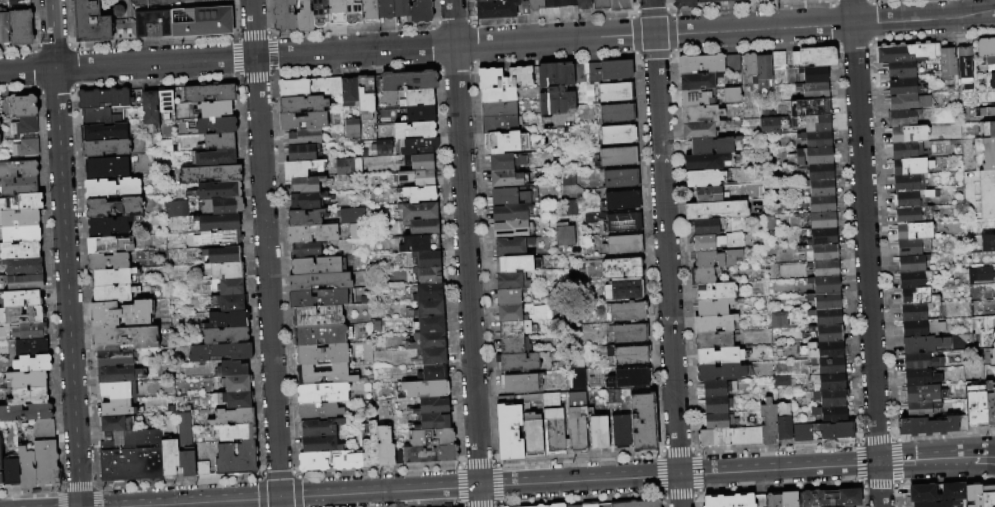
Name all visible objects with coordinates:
building: (736, 0)
building: (825, 0)
building: (489, 1)
building: (705, 1)
building: (720, 1)
building: (796, 1)
building: (14, 2)
building: (569, 3)
building: (553, 4)
building: (685, 4)
building: (536, 5)
building: (584, 5)
building: (601, 5)
building: (620, 6)
building: (370, 9)
building: (386, 9)
building: (402, 9)
building: (497, 10)
building: (421, 11)
building: (353, 12)
building: (321, 13)
building: (337, 13)
building: (285, 16)
building: (305, 17)
building: (91, 22)
building: (203, 22)
building: (4, 27)
building: (145, 27)
building: (22, 28)
road: (497, 42)
building: (986, 47)
building: (907, 53)
building: (814, 58)
building: (733, 60)
building: (779, 60)
building: (701, 64)
building: (948, 64)
building: (991, 65)
building: (966, 68)
building: (750, 69)
building: (900, 70)
building: (615, 71)
building: (763, 72)
building: (814, 75)
building: (506, 78)
building: (410, 81)
building: (990, 81)
building: (700, 82)
building: (311, 88)
building: (903, 88)
building: (556, 89)
building: (814, 90)
building: (350, 91)
building: (616, 93)
building: (211, 94)
building: (729, 94)
building: (498, 95)
building: (366, 97)
building: (698, 98)
building: (416, 99)
building: (105, 100)
building: (166, 102)
building: (909, 102)
building: (304, 105)
building: (20, 107)
building: (810, 108)
building: (216, 109)
building: (499, 109)
building: (151, 110)
building: (985, 112)
building: (421, 114)
building: (617, 114)
building: (702, 114)
building: (102, 117)
building: (904, 118)
building: (304, 122)
building: (816, 124)
building: (500, 125)
building: (767, 125)
building: (217, 126)
building: (24, 128)
building: (350, 128)
building: (701, 130)
building: (987, 130)
building: (416, 131)
building: (107, 133)
building: (908, 134)
building: (619, 135)
building: (305, 138)
building: (817, 140)
building: (220, 142)
building: (505, 143)
building: (381, 145)
building: (713, 146)
building: (419, 147)
building: (28, 148)
building: (106, 148)
building: (907, 151)
building: (303, 153)
building: (985, 154)
building: (814, 157)
building: (215, 158)
building: (616, 158)
building: (507, 162)
building: (706, 162)
building: (423, 163)
building: (346, 166)
building: (911, 167)
building: (108, 168)
building: (303, 169)
building: (19, 170)
building: (821, 172)
building: (211, 174)
building: (416, 178)
building: (509, 179)
building: (621, 179)
building: (704, 179)
building: (909, 183)
building: (307, 185)
building: (20, 186)
building: (113, 188)
building: (821, 188)
building: (220, 190)
building: (987, 194)
building: (420, 195)
building: (709, 195)
building: (508, 198)
building: (913, 198)
building: (307, 201)
building: (623, 201)
building: (22, 203)
building: (822, 204)
building: (228, 206)
building: (115, 208)
building: (173, 208)
building: (716, 210)
building: (419, 212)
building: (512, 213)
building: (350, 215)
building: (915, 215)
building: (306, 218)
building: (20, 219)
building: (821, 221)
building: (617, 222)
building: (218, 223)
building: (109, 226)
building: (424, 227)
building: (709, 227)
building: (512, 229)
building: (914, 231)
building: (313, 233)
building: (22, 234)
building: (564, 234)
building: (820, 237)
building: (229, 239)
building: (718, 242)
building: (988, 243)
building: (419, 244)
building: (624, 245)
building: (109, 246)
building: (513, 246)
building: (912, 247)
building: (20, 251)
building: (307, 251)
road: (64, 253)
road: (264, 253)
road: (465, 253)
road: (665, 253)
building: (820, 253)
road: (866, 253)
building: (224, 256)
building: (428, 259)
building: (717, 259)
building: (108, 262)
building: (518, 264)
building: (317, 266)
building: (23, 267)
building: (623, 269)
building: (824, 269)
building: (226, 271)
building: (912, 271)
building: (977, 274)
building: (428, 275)
building: (705, 276)
building: (113, 277)
building: (320, 281)
building: (513, 281)
building: (24, 282)
building: (826, 285)
building: (228, 287)
building: (624, 291)
building: (428, 292)
building: (717, 292)
building: (114, 293)
building: (509, 297)
building: (919, 297)
building: (20, 299)
building: (319, 299)
building: (826, 301)
building: (228, 303)
building: (715, 307)
building: (427, 309)
building: (627, 312)
building: (922, 312)
building: (523, 313)
building: (122, 314)
building: (21, 315)
building: (318, 317)
building: (827, 317)
building: (994, 317)
building: (776, 319)
building: (229, 320)
building: (714, 324)
building: (430, 325)
building: (922, 328)
building: (514, 330)
building: (23, 332)
building: (629, 334)
building: (829, 334)
building: (226, 336)
building: (322, 336)
building: (993, 336)
building: (126, 339)
building: (714, 340)
building: (429, 341)
building: (924, 344)
building: (993, 345)
building: (514, 346)
building: (28, 347)
building: (823, 351)
building: (221, 352)
building: (323, 355)
building: (629, 356)
building: (433, 357)
building: (720, 357)
building: (992, 358)
building: (115, 359)
building: (521, 361)
building: (921, 361)
building: (33, 364)
building: (828, 366)
building: (232, 369)
building: (435, 373)
building: (723, 373)
building: (120, 375)
building: (325, 376)
building: (921, 377)
building: (630, 379)
building: (29, 380)
building: (607, 382)
building: (829, 382)
building: (524, 383)
building: (237, 384)
building: (426, 389)
building: (718, 389)
building: (119, 391)
building: (924, 393)
building: (323, 394)
building: (30, 396)
building: (832, 398)
building: (237, 400)
building: (577, 403)
building: (976, 404)
building: (990, 404)
building: (717, 405)
building: (433, 406)
building: (922, 408)
building: (117, 409)
building: (320, 412)
building: (26, 413)
building: (831, 415)
building: (235, 417)
building: (644, 421)
building: (434, 422)
building: (720, 422)
building: (784, 422)
building: (769, 423)
building: (117, 425)
building: (929, 426)
building: (186, 427)
building: (321, 428)
building: (44, 429)
building: (835, 431)
building: (554, 432)
building: (621, 432)
building: (237, 433)
building: (509, 433)
building: (600, 434)
building: (803, 434)
building: (533, 435)
building: (730, 437)
building: (432, 438)
building: (133, 440)
building: (321, 445)
building: (385, 446)
building: (371, 447)
road: (988, 453)
building: (430, 455)
road: (988, 456)
building: (170, 458)
building: (237, 459)
building: (313, 462)
building: (348, 463)
building: (46, 464)
building: (188, 464)
building: (132, 465)
building: (1, 466)
building: (27, 469)
building: (204, 469)
building: (11, 471)
road: (548, 482)
building: (0, 486)
building: (936, 493)
building: (973, 495)
building: (988, 496)
traffic signals: (278, 498)
building: (832, 498)
building: (789, 499)
building: (731, 501)
building: (773, 501)
building: (639, 504)
building: (938, 504)
building: (540, 505)
building: (558, 505)
building: (591, 505)
building: (575, 506)

